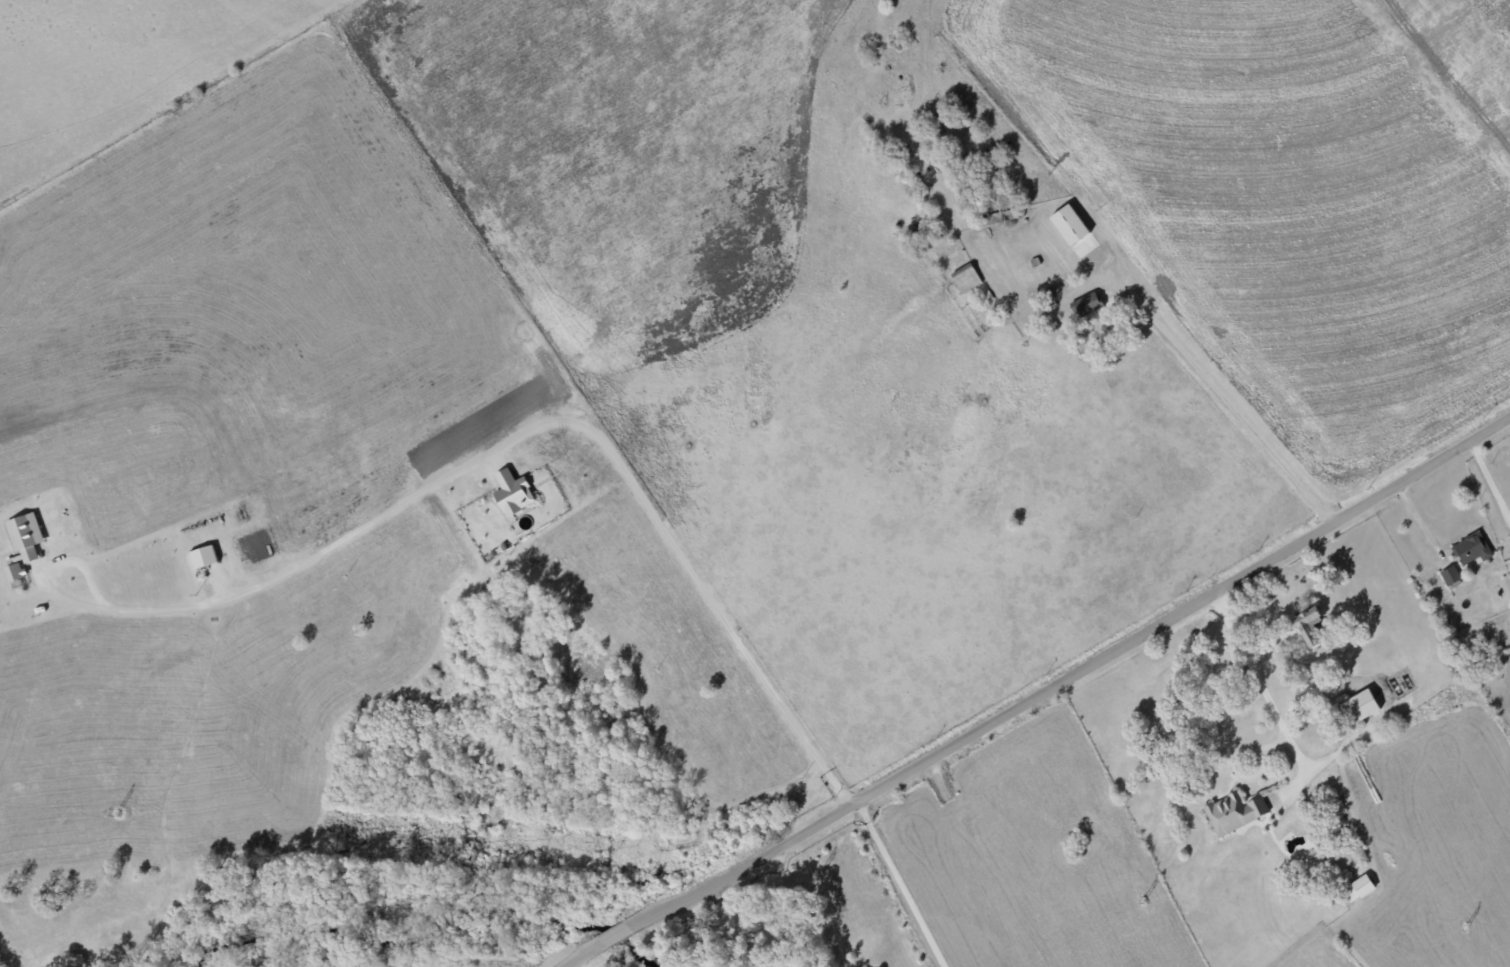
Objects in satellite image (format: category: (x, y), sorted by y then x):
building: (1067, 224)
building: (1091, 247)
building: (964, 277)
building: (1085, 304)
road: (1239, 416)
road: (522, 439)
road: (1483, 488)
building: (511, 493)
building: (22, 537)
building: (1470, 548)
building: (201, 556)
building: (12, 572)
building: (1448, 575)
building: (1307, 626)
road: (1263, 683)
road: (1047, 693)
building: (1356, 707)
power tower: (113, 813)
building: (1232, 813)
power tower: (465, 843)
power tower: (819, 874)
road: (907, 884)
building: (1356, 889)
power tower: (1144, 903)
road: (807, 911)
power tower: (1468, 929)

